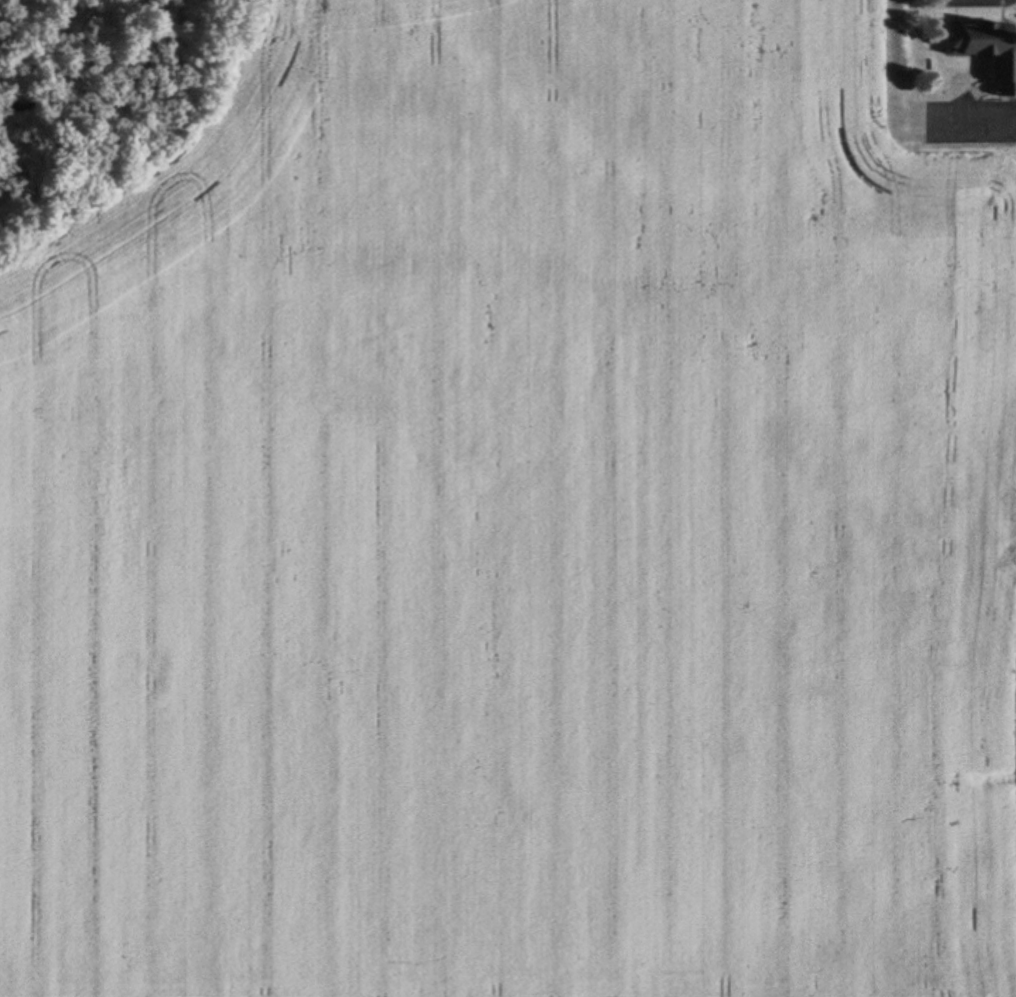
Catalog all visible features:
building: (978, 53)

